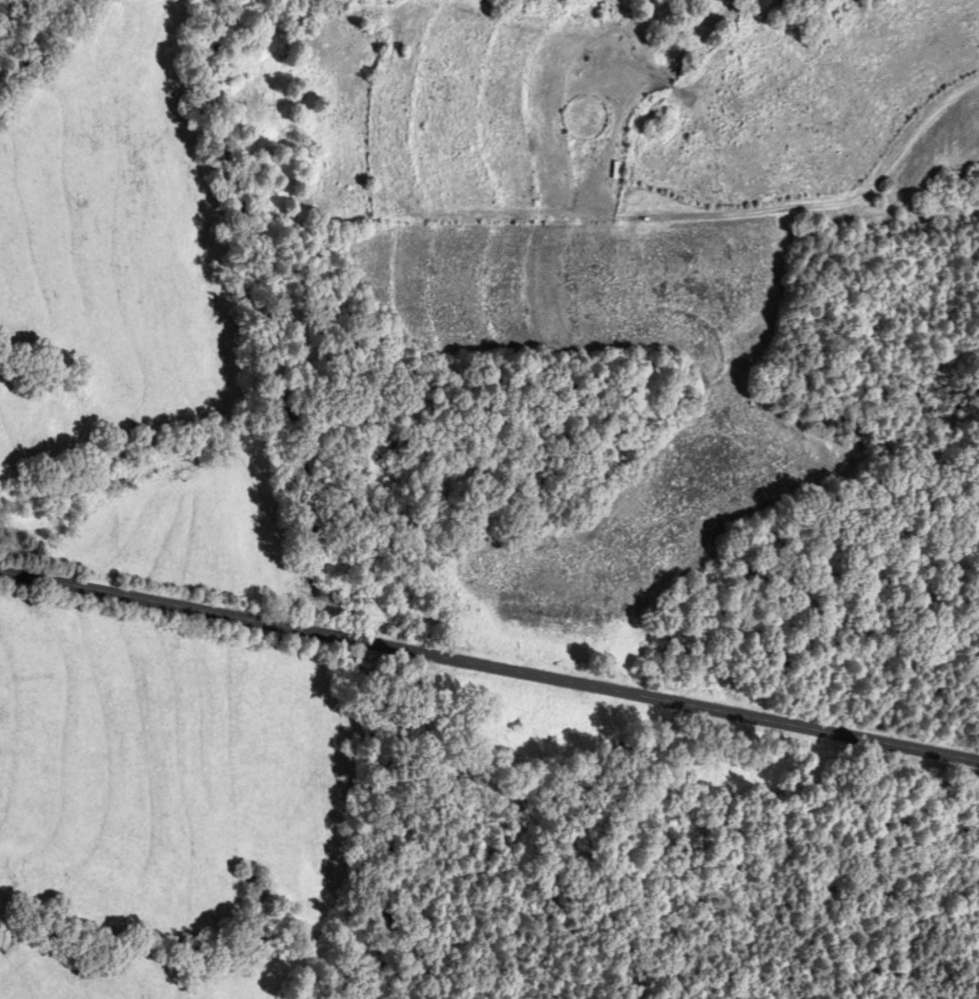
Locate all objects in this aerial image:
road: (489, 672)

